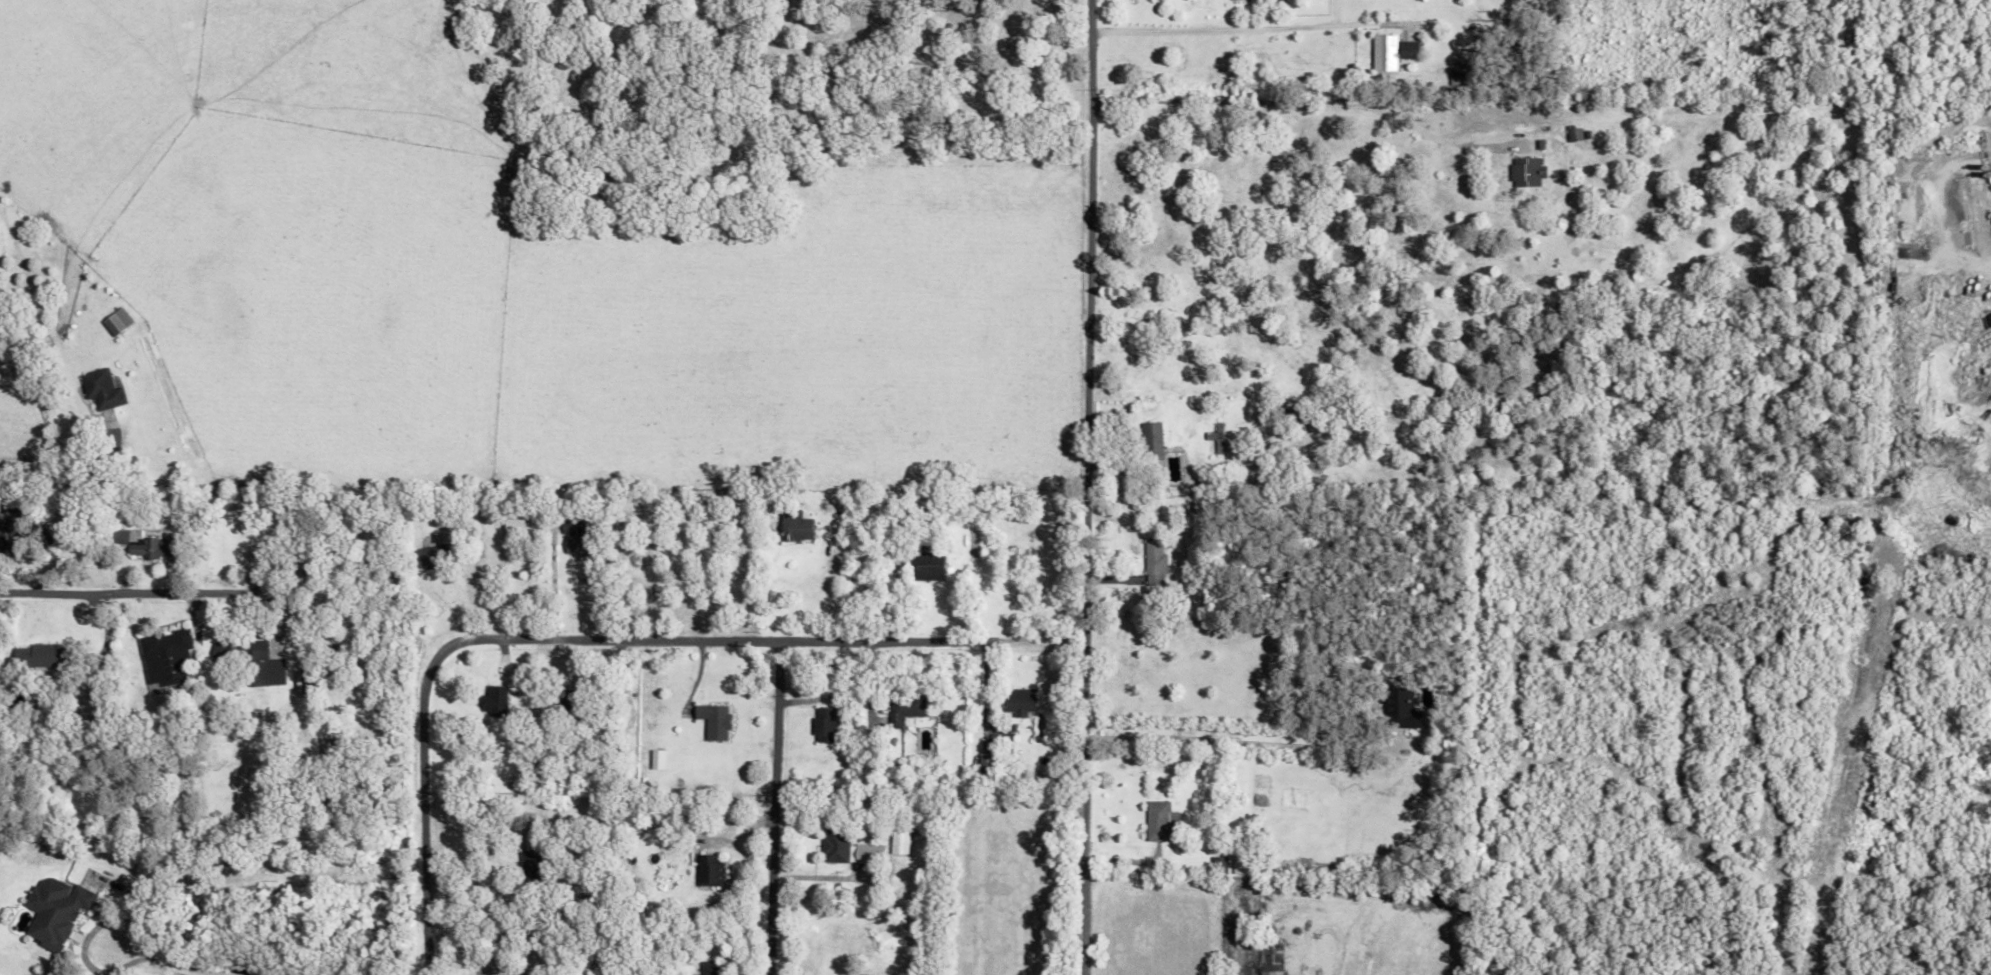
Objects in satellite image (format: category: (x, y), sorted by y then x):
road: (1245, 27)
building: (1406, 49)
building: (1382, 52)
road: (1292, 102)
building: (1526, 172)
building: (113, 321)
building: (99, 389)
building: (1152, 446)
road: (43, 470)
road: (1085, 487)
building: (792, 526)
building: (566, 527)
building: (511, 528)
building: (568, 542)
building: (148, 549)
building: (429, 557)
building: (1152, 562)
building: (925, 567)
road: (547, 584)
road: (113, 590)
road: (822, 597)
road: (593, 638)
building: (163, 656)
building: (37, 657)
building: (256, 671)
building: (497, 694)
building: (1017, 701)
building: (901, 709)
building: (1400, 709)
building: (711, 721)
building: (821, 725)
road: (1222, 738)
building: (655, 760)
road: (765, 808)
building: (1158, 819)
building: (847, 849)
road: (457, 860)
building: (1241, 865)
building: (707, 869)
building: (53, 910)
road: (77, 936)
road: (184, 964)
building: (710, 968)
building: (1269, 972)

